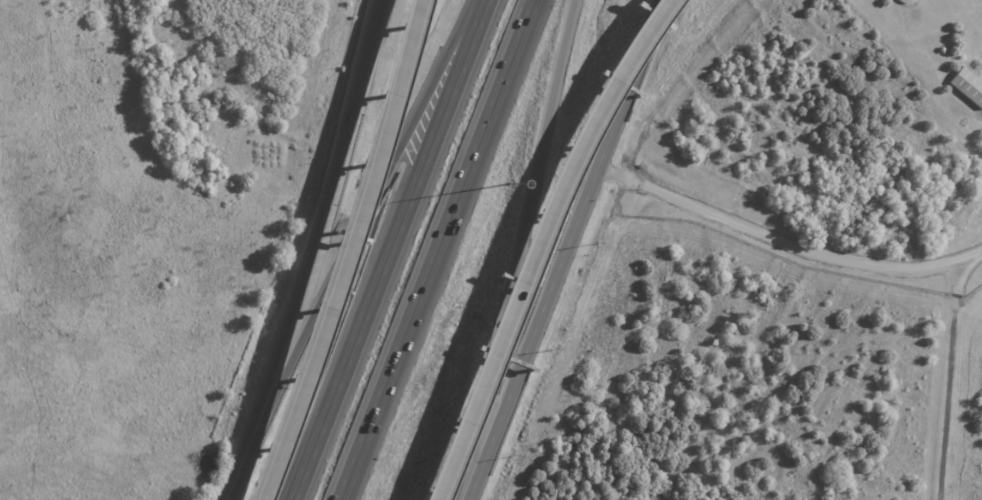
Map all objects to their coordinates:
building: (940, 48)
building: (969, 85)
building: (961, 120)
road: (365, 151)
road: (544, 242)
road: (784, 245)
road: (344, 247)
road: (385, 249)
road: (434, 250)
road: (563, 250)
road: (514, 251)
road: (308, 253)
road: (296, 403)

